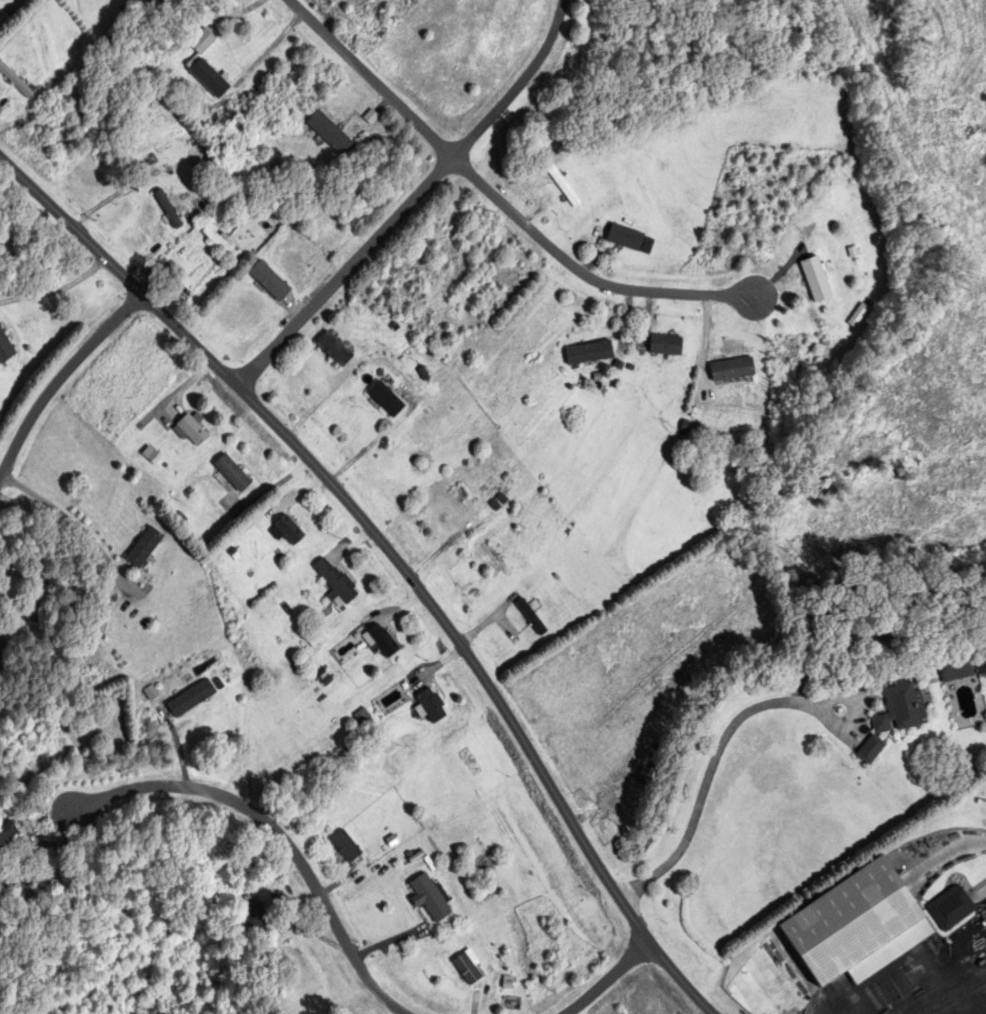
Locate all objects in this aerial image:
building: (3, 21)
road: (271, 46)
road: (372, 78)
building: (209, 79)
building: (15, 81)
building: (329, 133)
building: (563, 186)
road: (411, 201)
building: (167, 210)
building: (630, 239)
building: (221, 243)
road: (586, 273)
building: (815, 279)
building: (269, 281)
building: (471, 283)
building: (665, 345)
building: (5, 349)
building: (334, 349)
building: (589, 353)
building: (731, 370)
road: (62, 384)
building: (386, 399)
building: (144, 423)
building: (192, 430)
building: (232, 474)
road: (83, 519)
building: (289, 530)
building: (143, 547)
road: (391, 555)
building: (335, 583)
building: (36, 601)
building: (531, 617)
building: (313, 638)
building: (383, 641)
building: (0, 652)
building: (955, 666)
building: (190, 699)
building: (431, 705)
building: (895, 717)
road: (709, 769)
road: (278, 833)
building: (7, 834)
building: (345, 846)
building: (430, 898)
building: (951, 908)
building: (254, 916)
building: (858, 927)
building: (466, 969)
road: (605, 979)
road: (945, 993)

